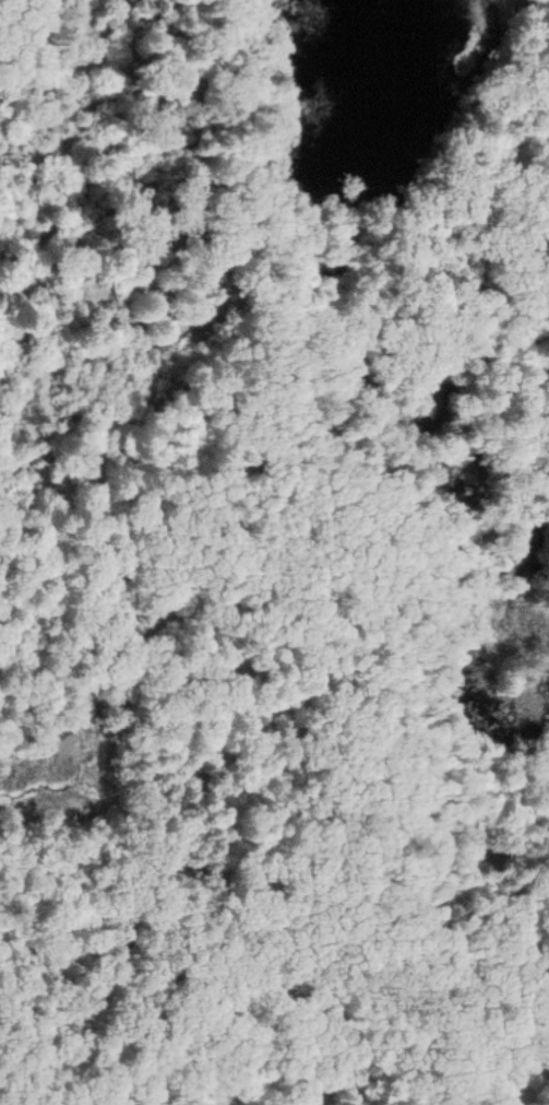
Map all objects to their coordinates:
park: (274, 552)
road: (225, 816)
road: (206, 959)

